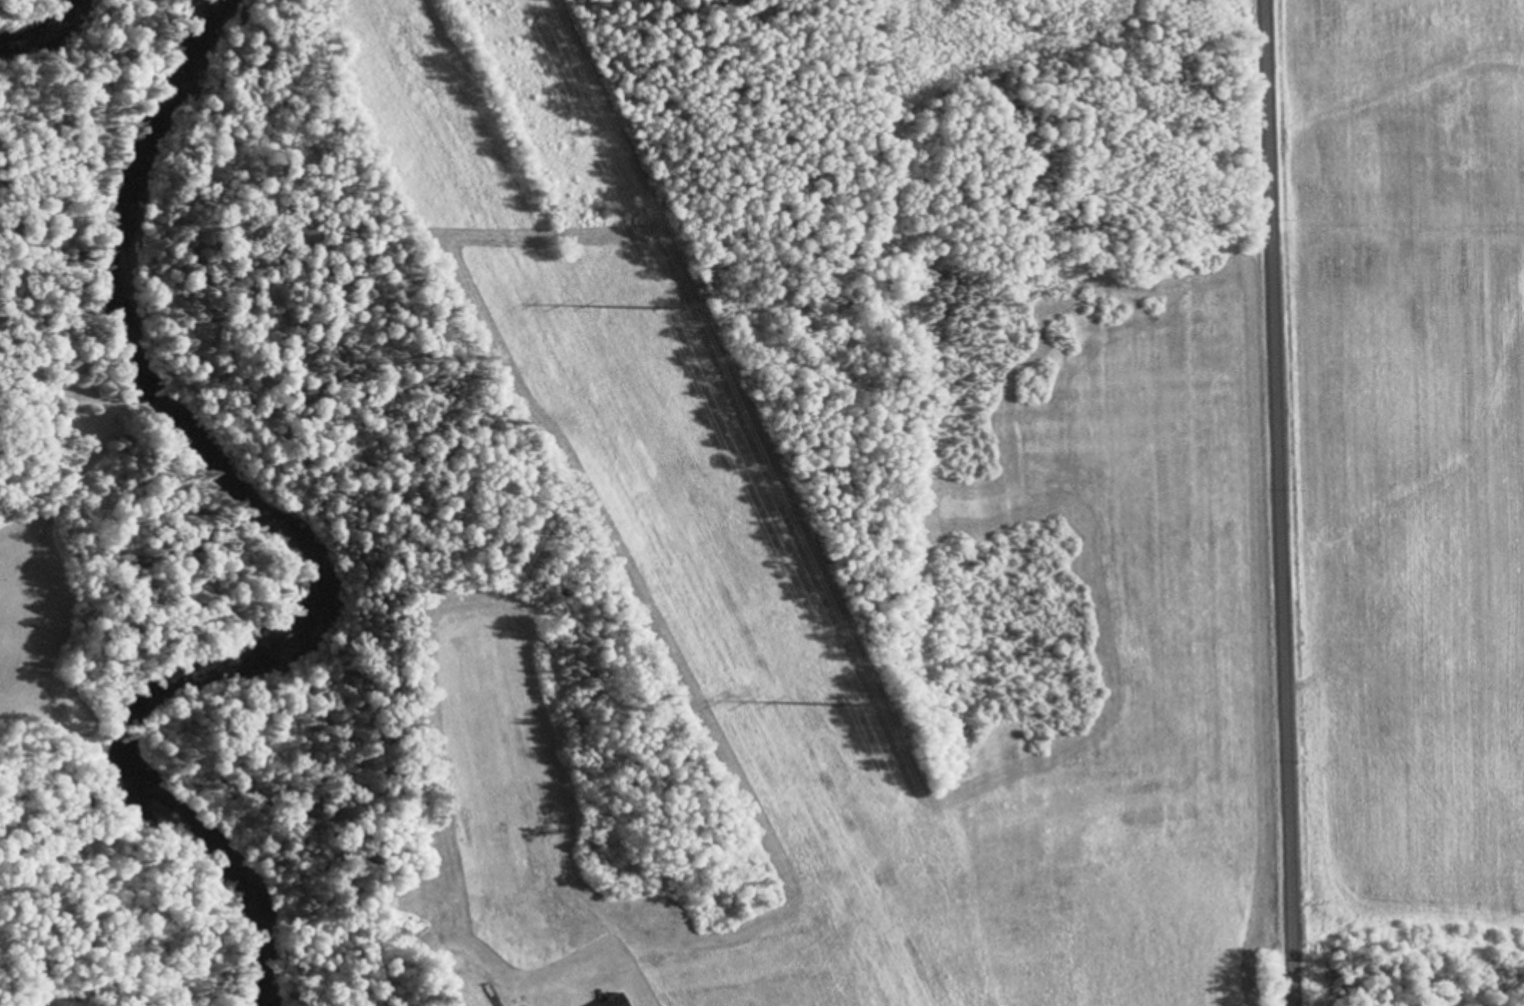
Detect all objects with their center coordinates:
power tower: (654, 309)
road: (1281, 503)
power tower: (839, 707)
road: (475, 995)
building: (617, 1001)

